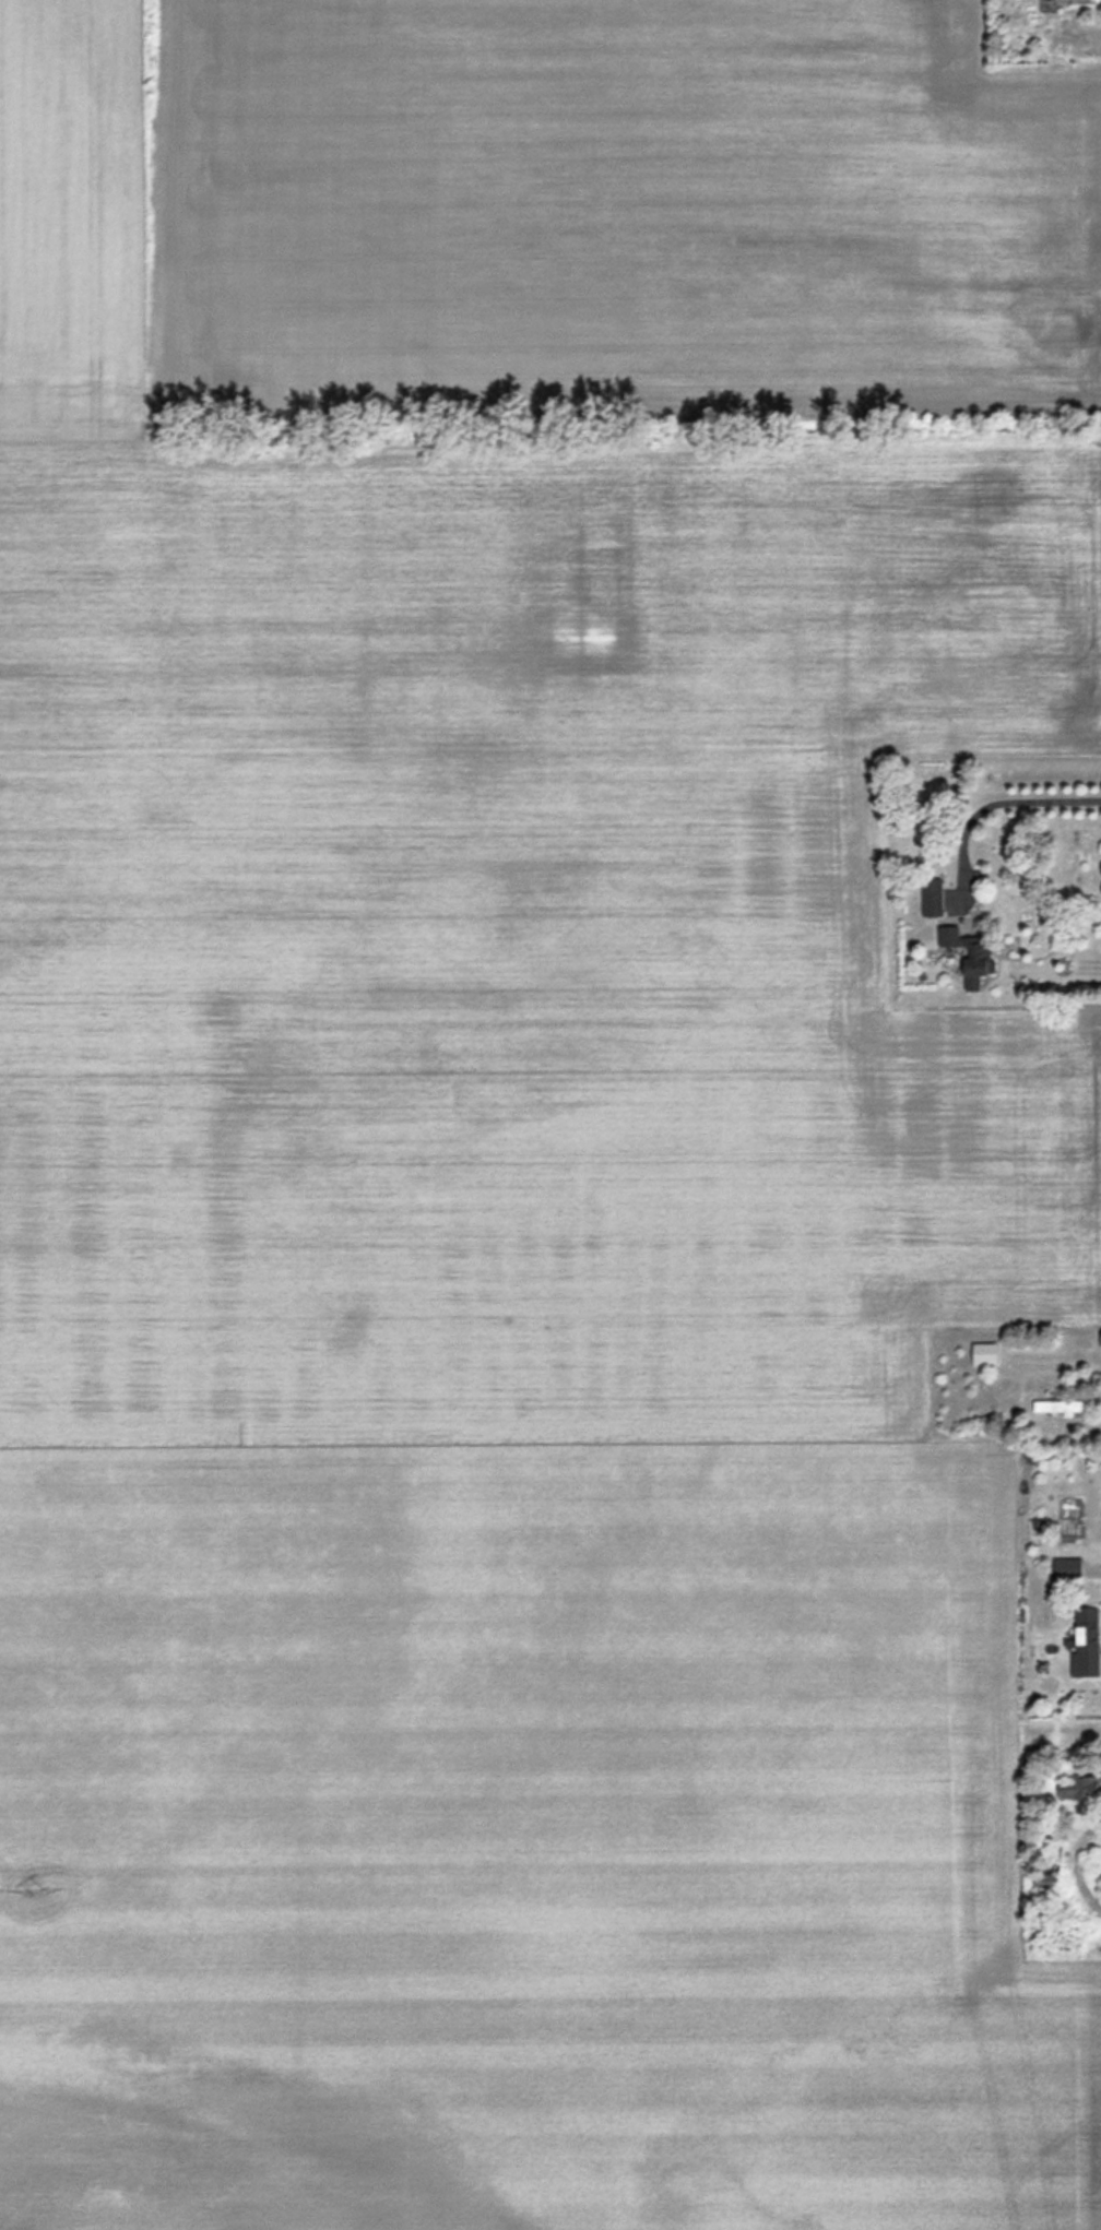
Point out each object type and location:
building: (1069, 1)
building: (931, 897)
building: (966, 950)
building: (984, 1352)
building: (1057, 1407)
building: (1066, 1568)
building: (1084, 1641)
building: (1078, 1789)
power tower: (43, 1888)

